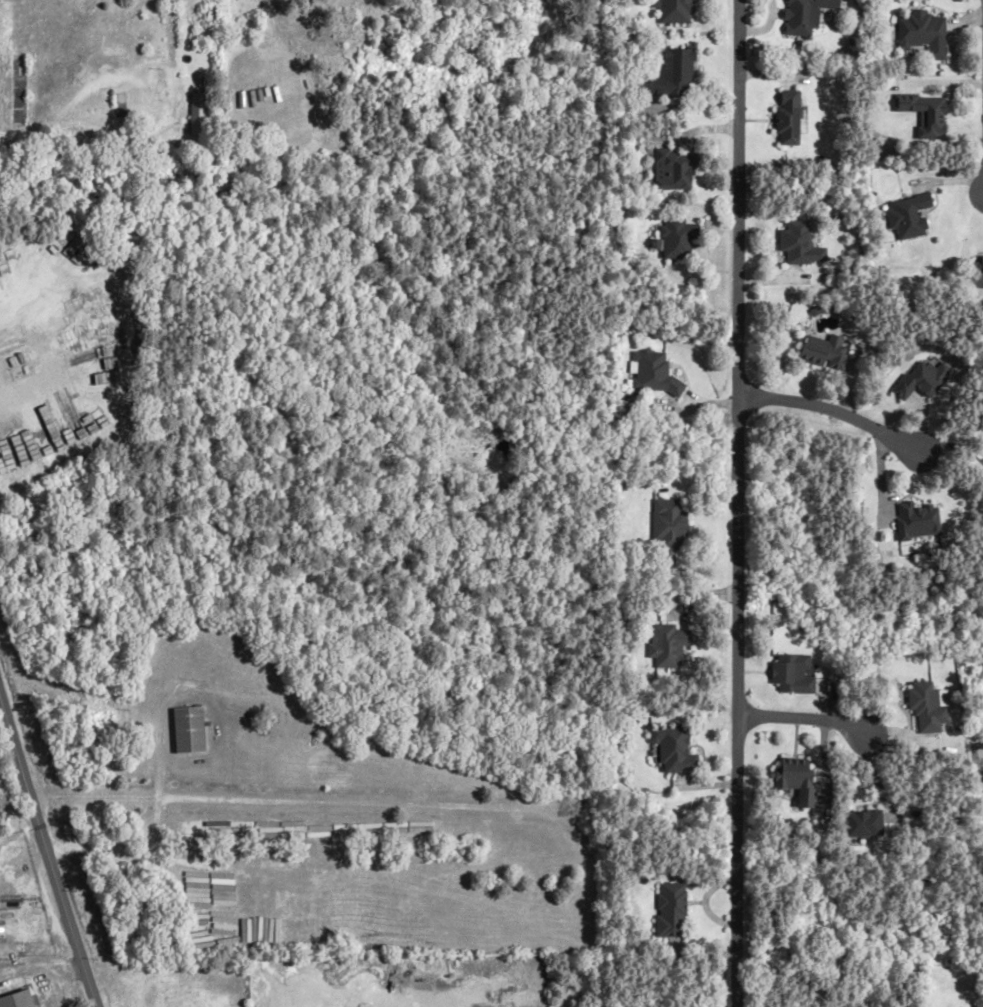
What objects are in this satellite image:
building: (678, 11)
building: (807, 15)
building: (927, 33)
building: (673, 74)
building: (197, 113)
building: (930, 113)
building: (790, 117)
road: (71, 124)
road: (6, 143)
building: (676, 170)
building: (913, 215)
building: (678, 238)
building: (803, 244)
building: (980, 273)
building: (829, 352)
building: (67, 369)
building: (652, 373)
road: (822, 409)
road: (944, 446)
road: (734, 503)
building: (921, 520)
building: (671, 524)
building: (670, 645)
building: (794, 674)
building: (929, 707)
road: (799, 716)
building: (190, 730)
building: (677, 749)
building: (800, 778)
road: (152, 811)
building: (869, 824)
road: (46, 856)
building: (672, 910)
building: (22, 1000)

